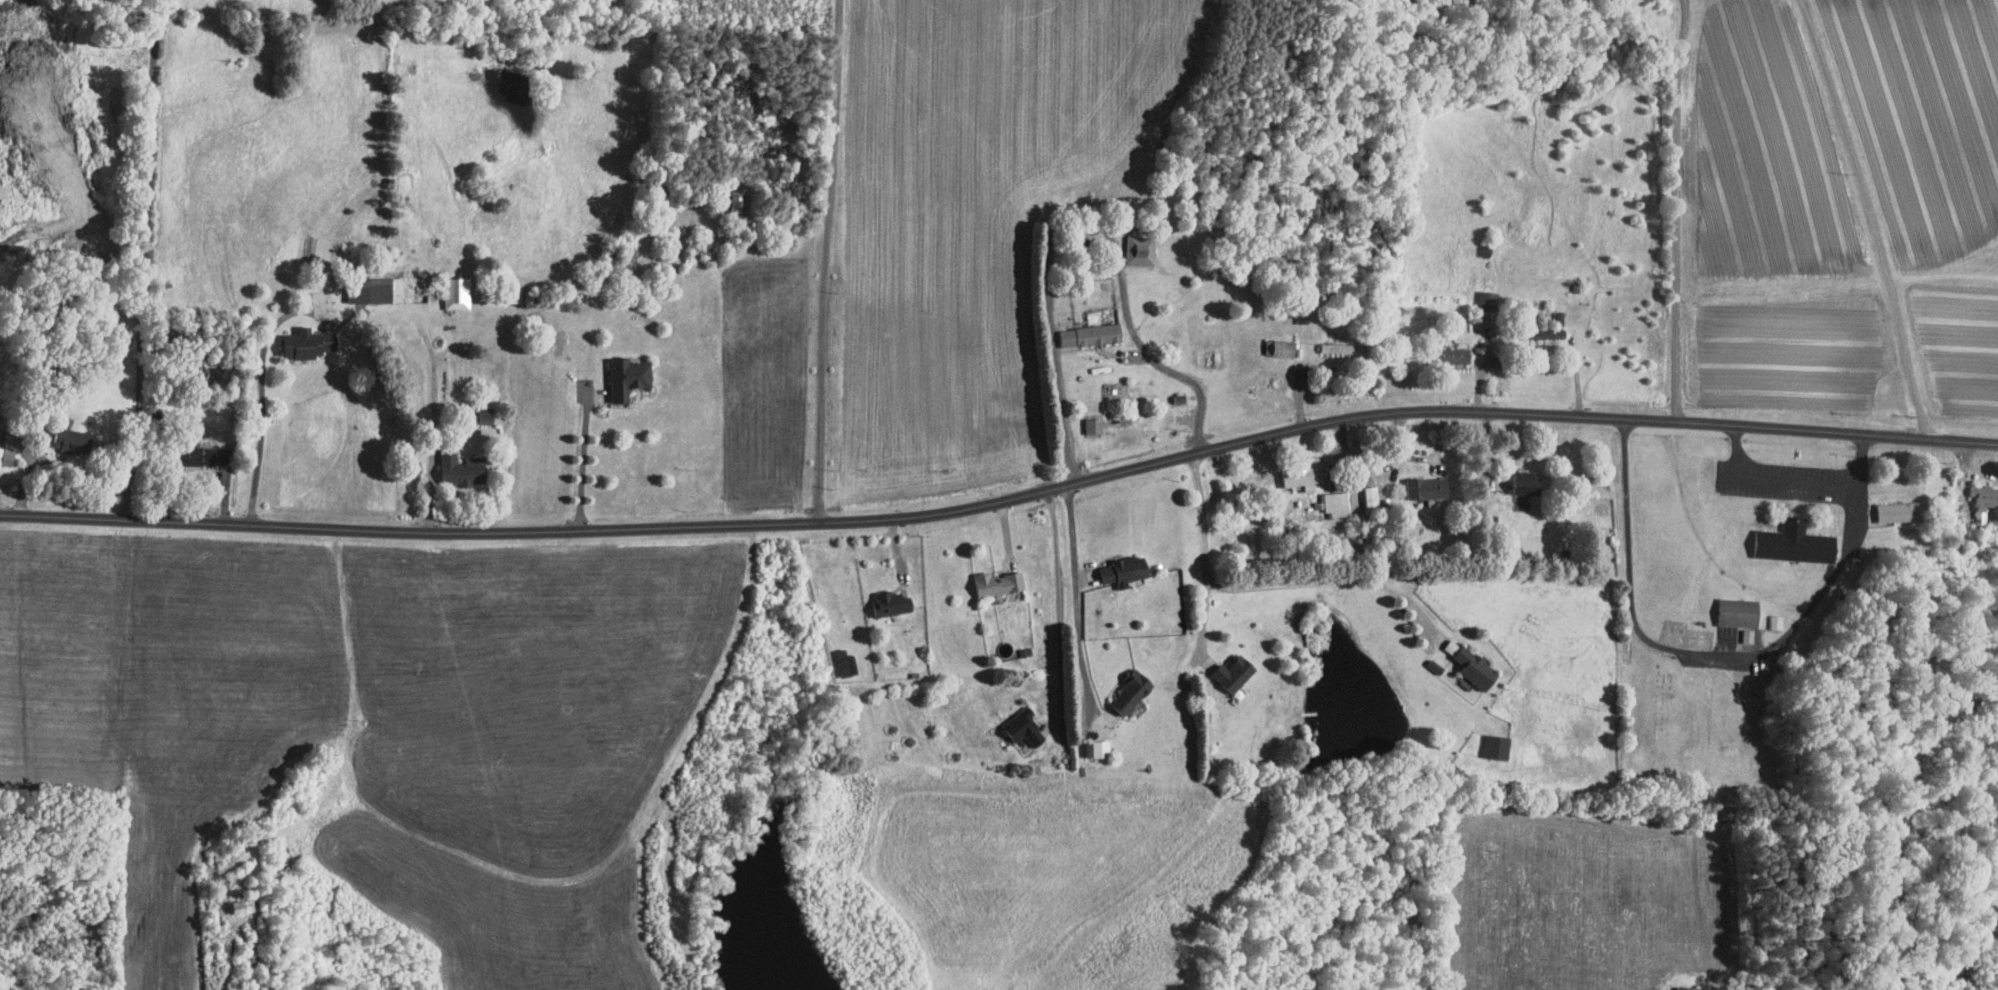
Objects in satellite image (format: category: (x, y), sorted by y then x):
road: (1671, 210)
road: (1872, 216)
building: (1132, 243)
road: (144, 260)
road: (826, 260)
building: (367, 285)
building: (448, 287)
road: (1125, 304)
building: (1083, 329)
building: (1548, 335)
building: (300, 338)
building: (1280, 348)
building: (1338, 348)
building: (1455, 356)
road: (1484, 371)
building: (619, 372)
road: (1196, 379)
road: (1299, 389)
road: (262, 403)
building: (1084, 420)
building: (66, 437)
building: (195, 450)
road: (585, 461)
building: (454, 464)
building: (1302, 476)
road: (1775, 481)
building: (1527, 483)
building: (1427, 489)
building: (1372, 499)
road: (1003, 501)
building: (1984, 501)
building: (1337, 503)
building: (1899, 512)
building: (1795, 546)
building: (1116, 565)
building: (989, 577)
road: (1262, 587)
building: (883, 598)
road: (1077, 602)
road: (1059, 603)
building: (1739, 611)
road: (1718, 652)
building: (834, 656)
building: (1476, 667)
building: (1234, 672)
building: (1123, 686)
building: (1014, 721)
building: (1091, 742)
building: (1497, 745)
building: (234, 899)
building: (1690, 988)

